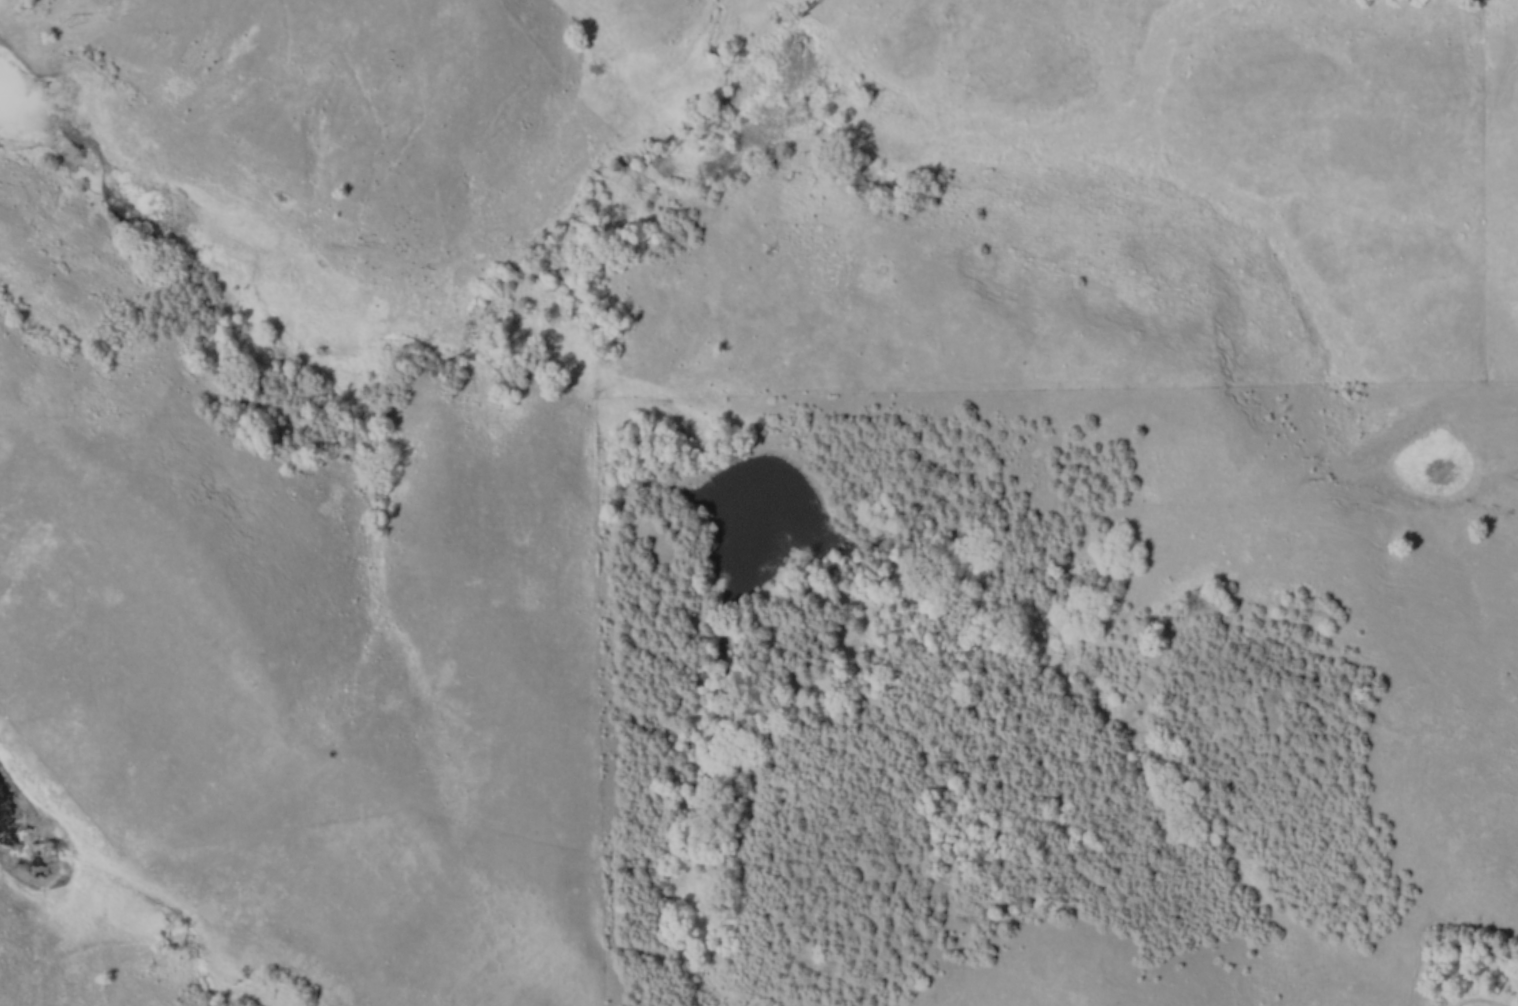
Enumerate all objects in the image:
crop: (1474, 1000)

